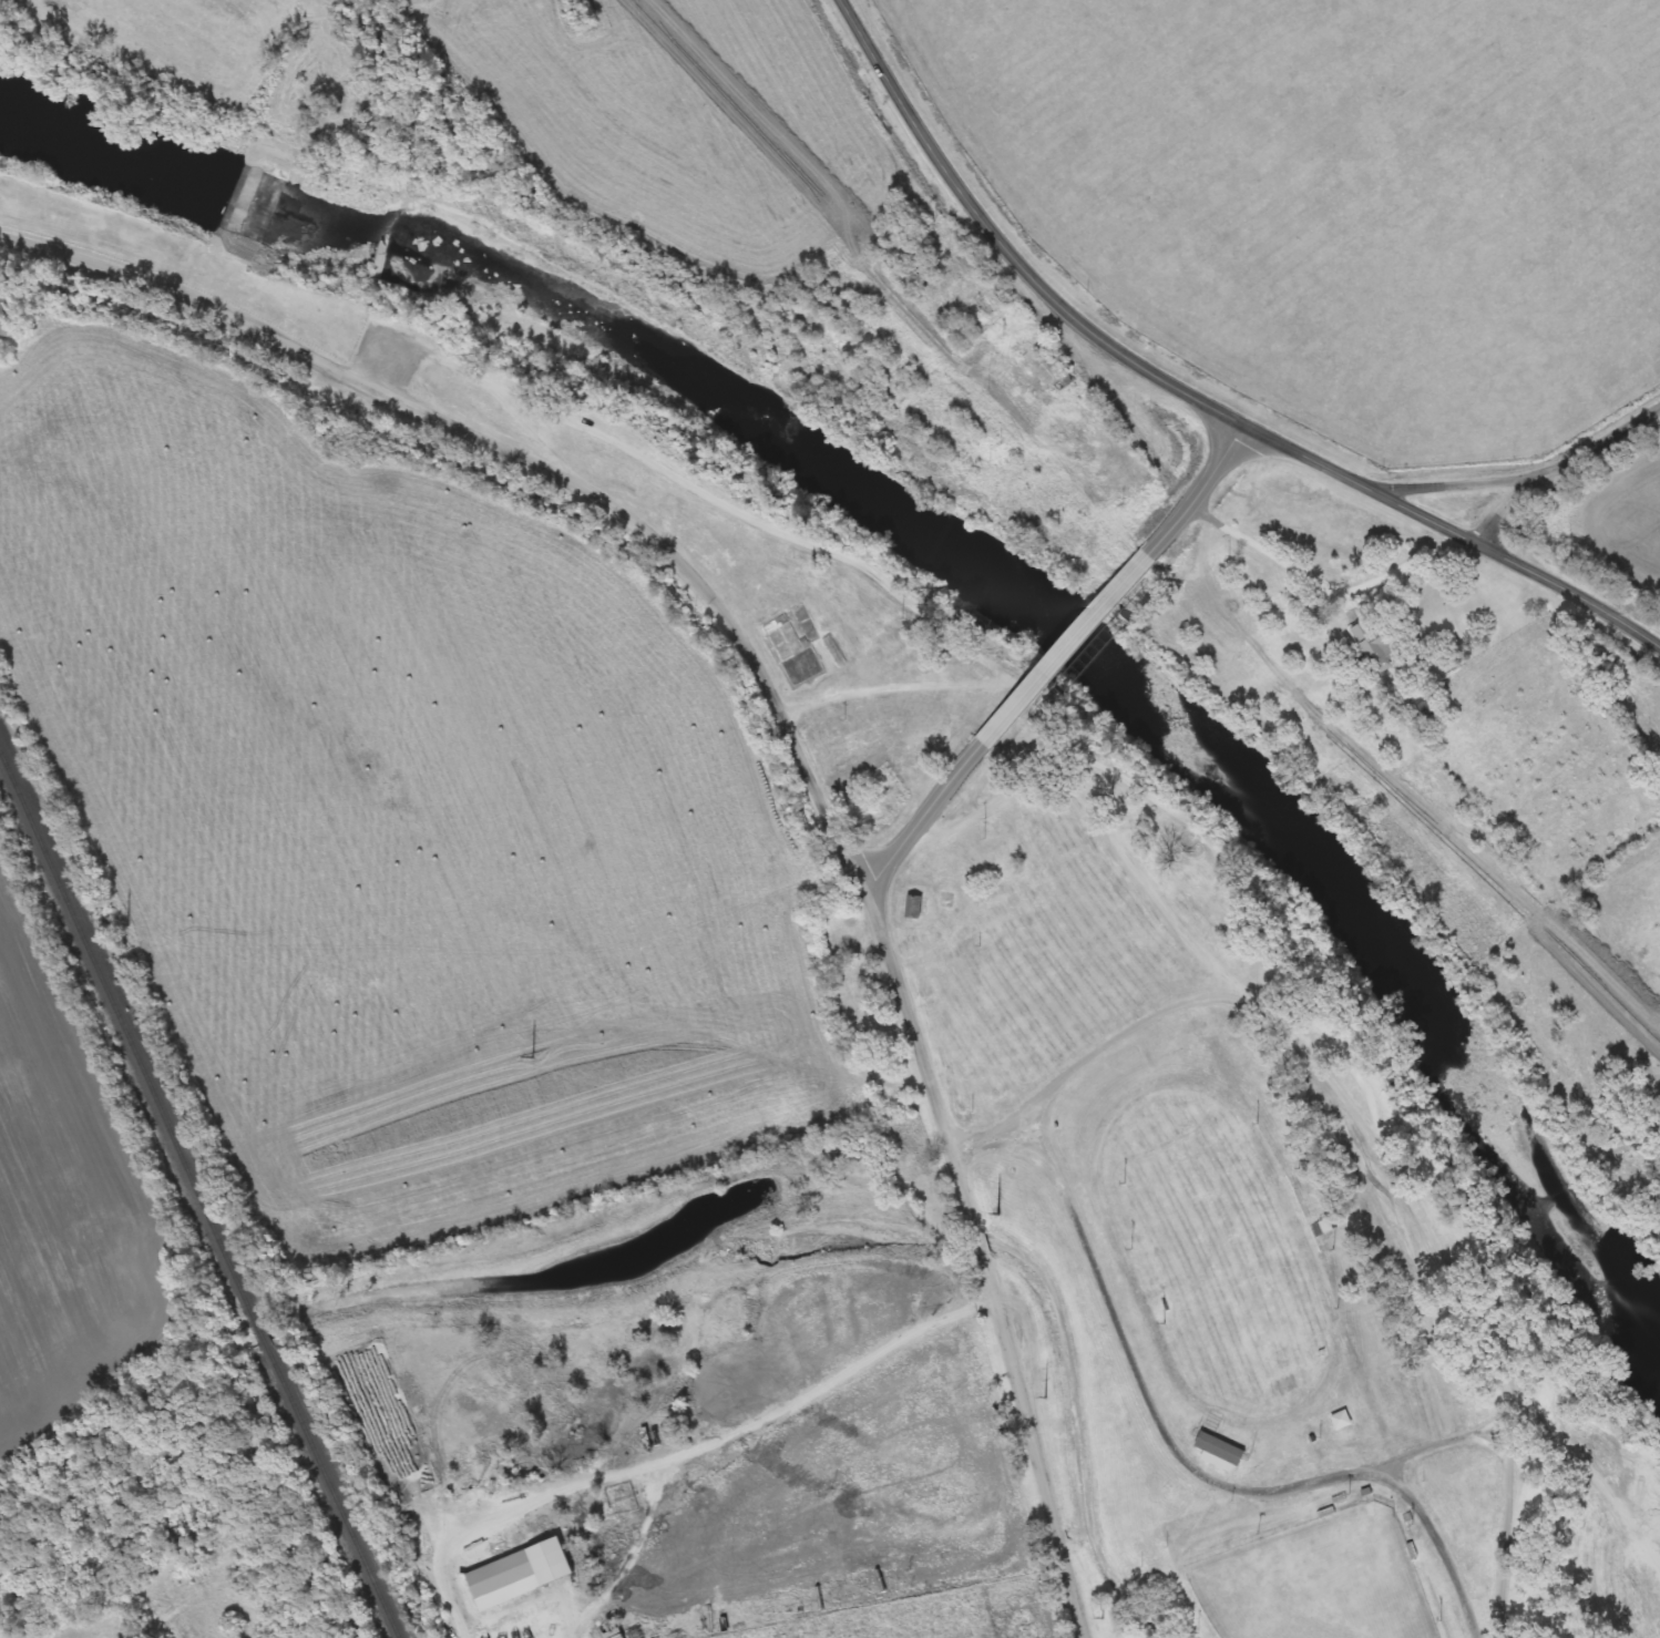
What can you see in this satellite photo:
building: (9, 315)
building: (1054, 371)
road: (1188, 397)
road: (1612, 439)
road: (1468, 480)
road: (1518, 502)
road: (1219, 503)
river: (980, 565)
road: (1330, 591)
building: (1382, 645)
road: (1090, 659)
building: (1428, 702)
road: (785, 727)
building: (872, 815)
road: (934, 823)
road: (1161, 884)
building: (918, 908)
power tower: (124, 923)
railway: (125, 1026)
power tower: (530, 1056)
road: (985, 1137)
power tower: (995, 1214)
park: (1228, 1252)
railway: (259, 1323)
road: (1497, 1361)
power tower: (1043, 1396)
building: (1346, 1421)
building: (1226, 1450)
railway: (332, 1489)
road: (1514, 1549)
power tower: (1097, 1618)

